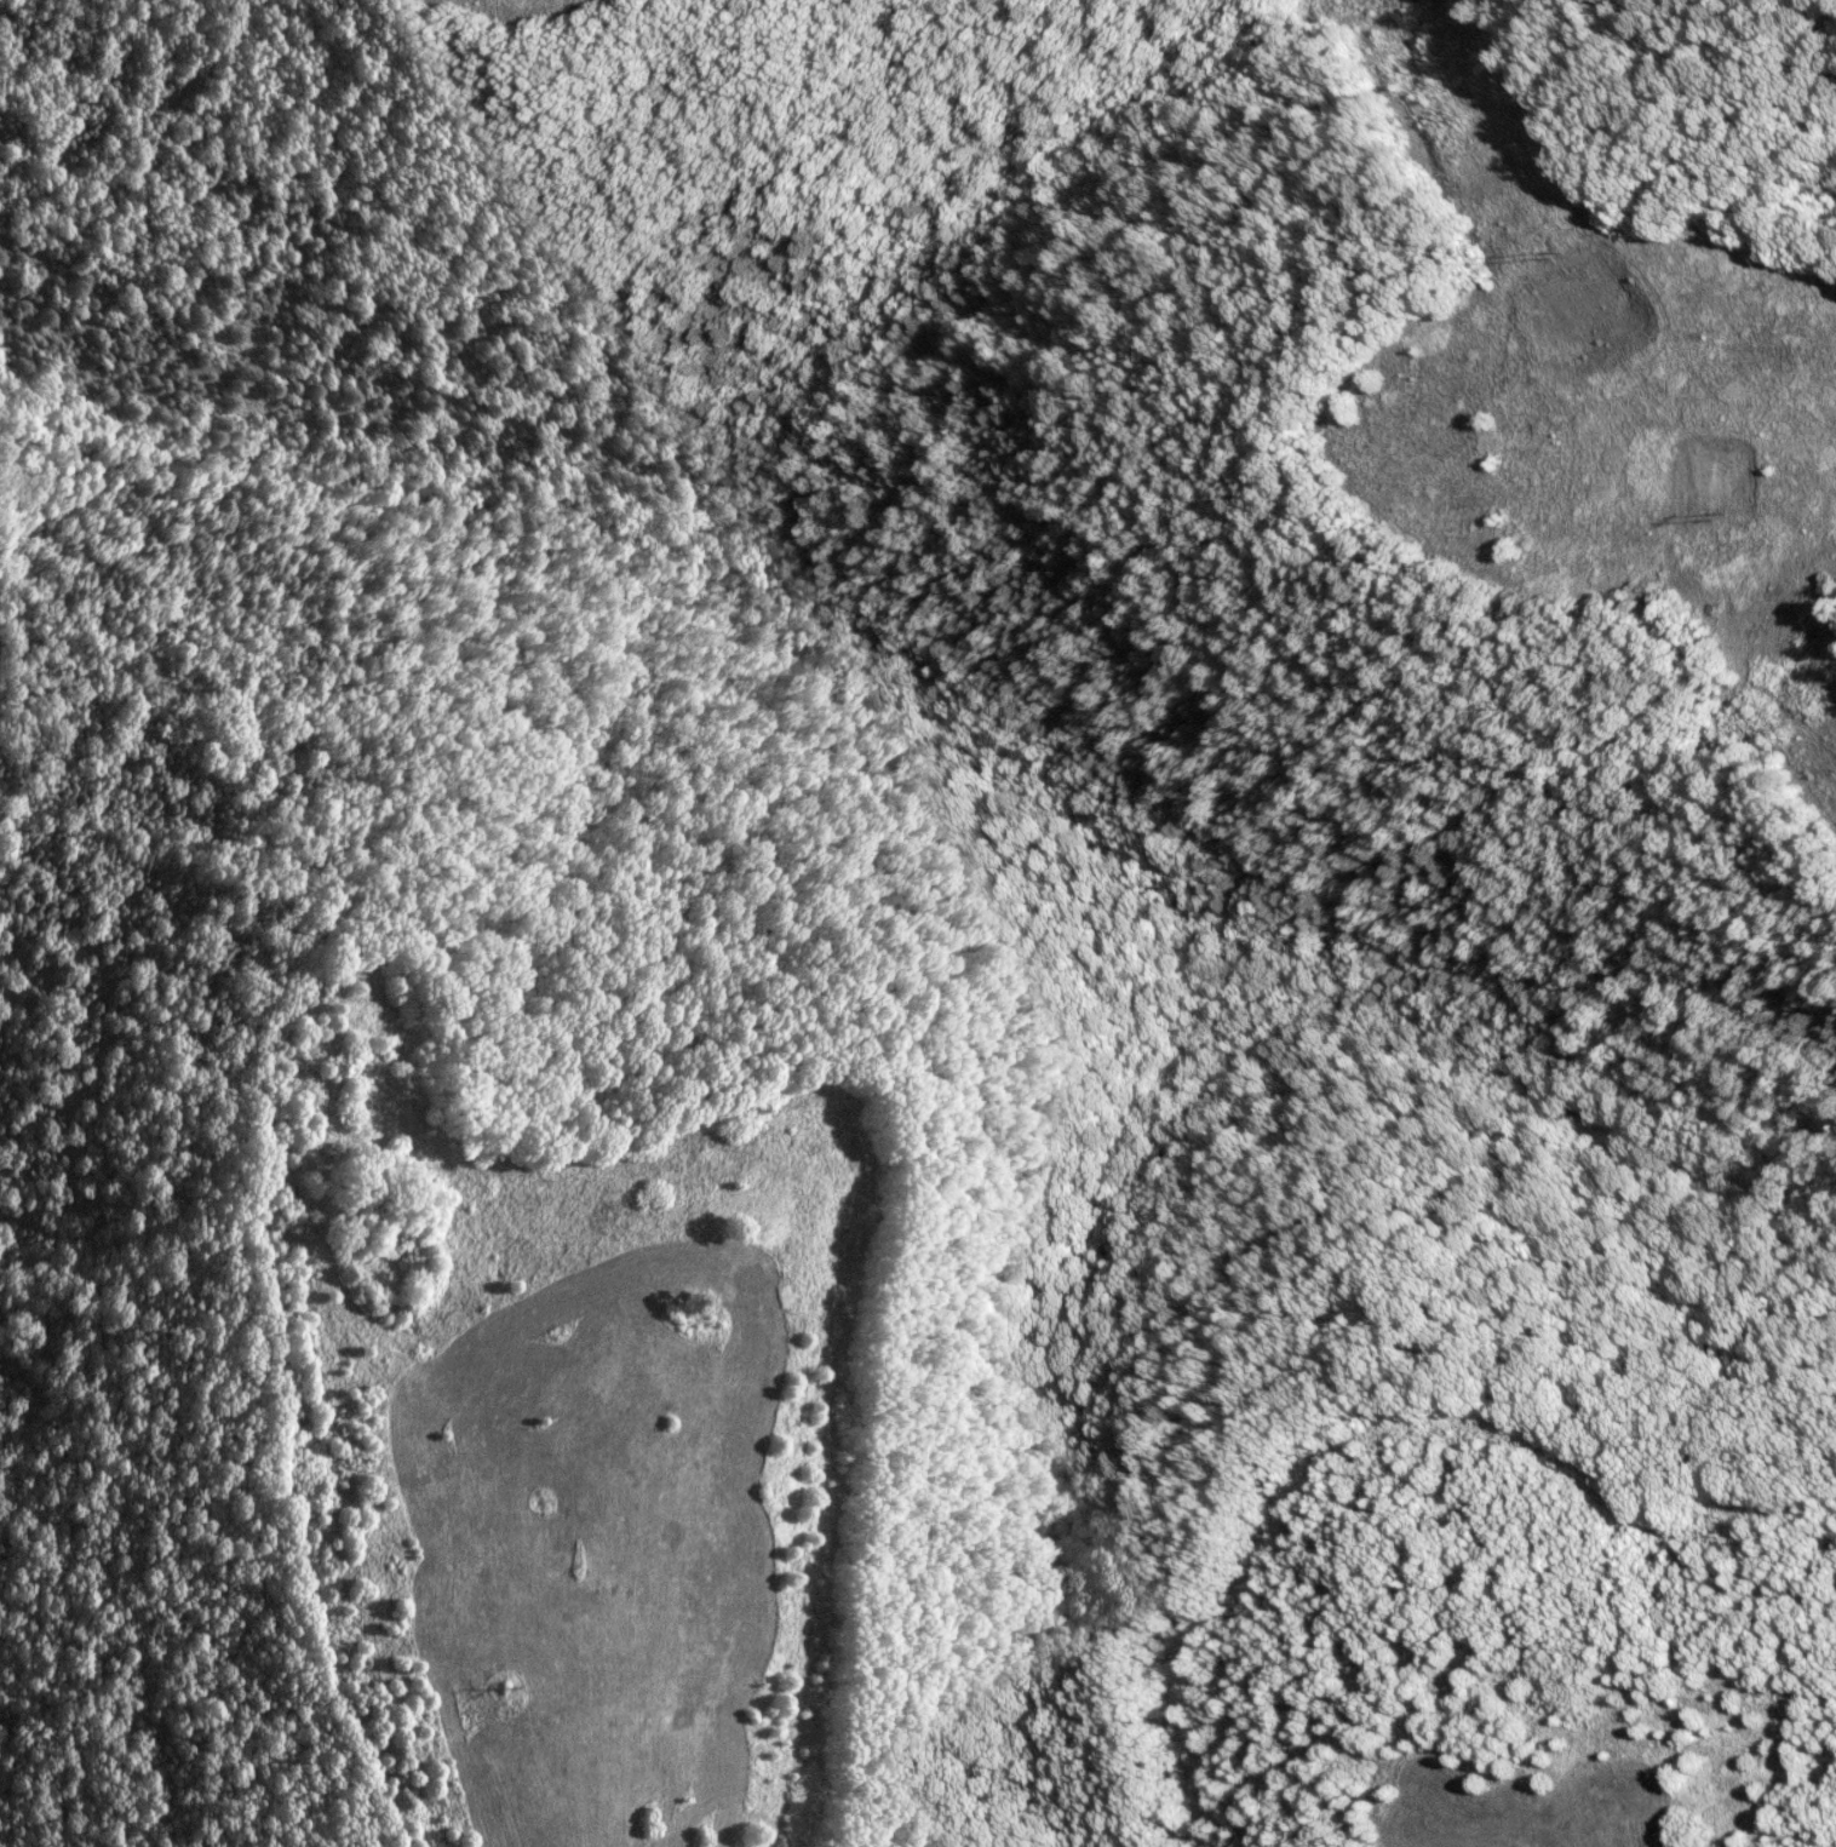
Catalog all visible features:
airport: (1698, 223)
power tower: (1560, 259)
power tower: (1720, 520)

